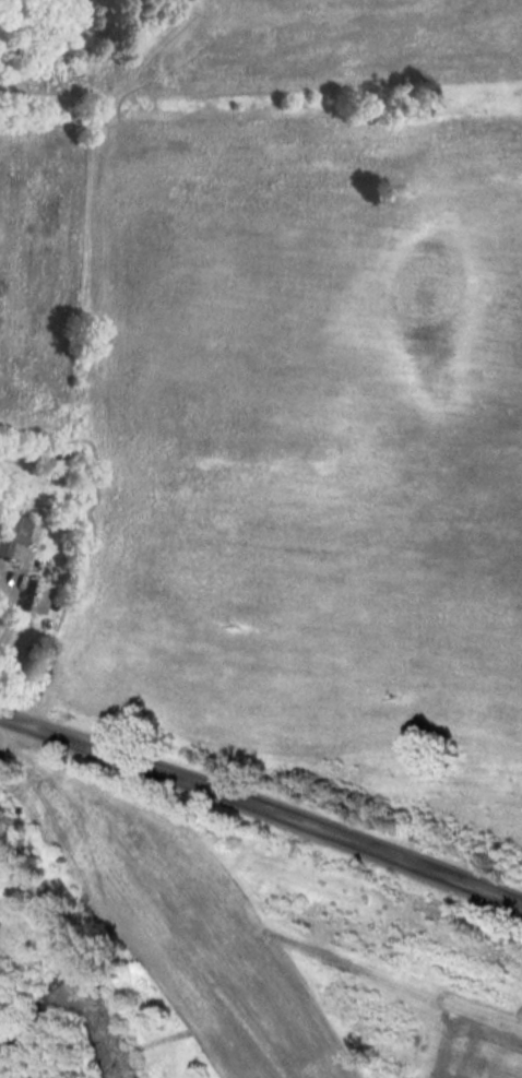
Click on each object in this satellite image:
building: (13, 535)
building: (36, 596)
road: (11, 617)
road: (261, 806)

